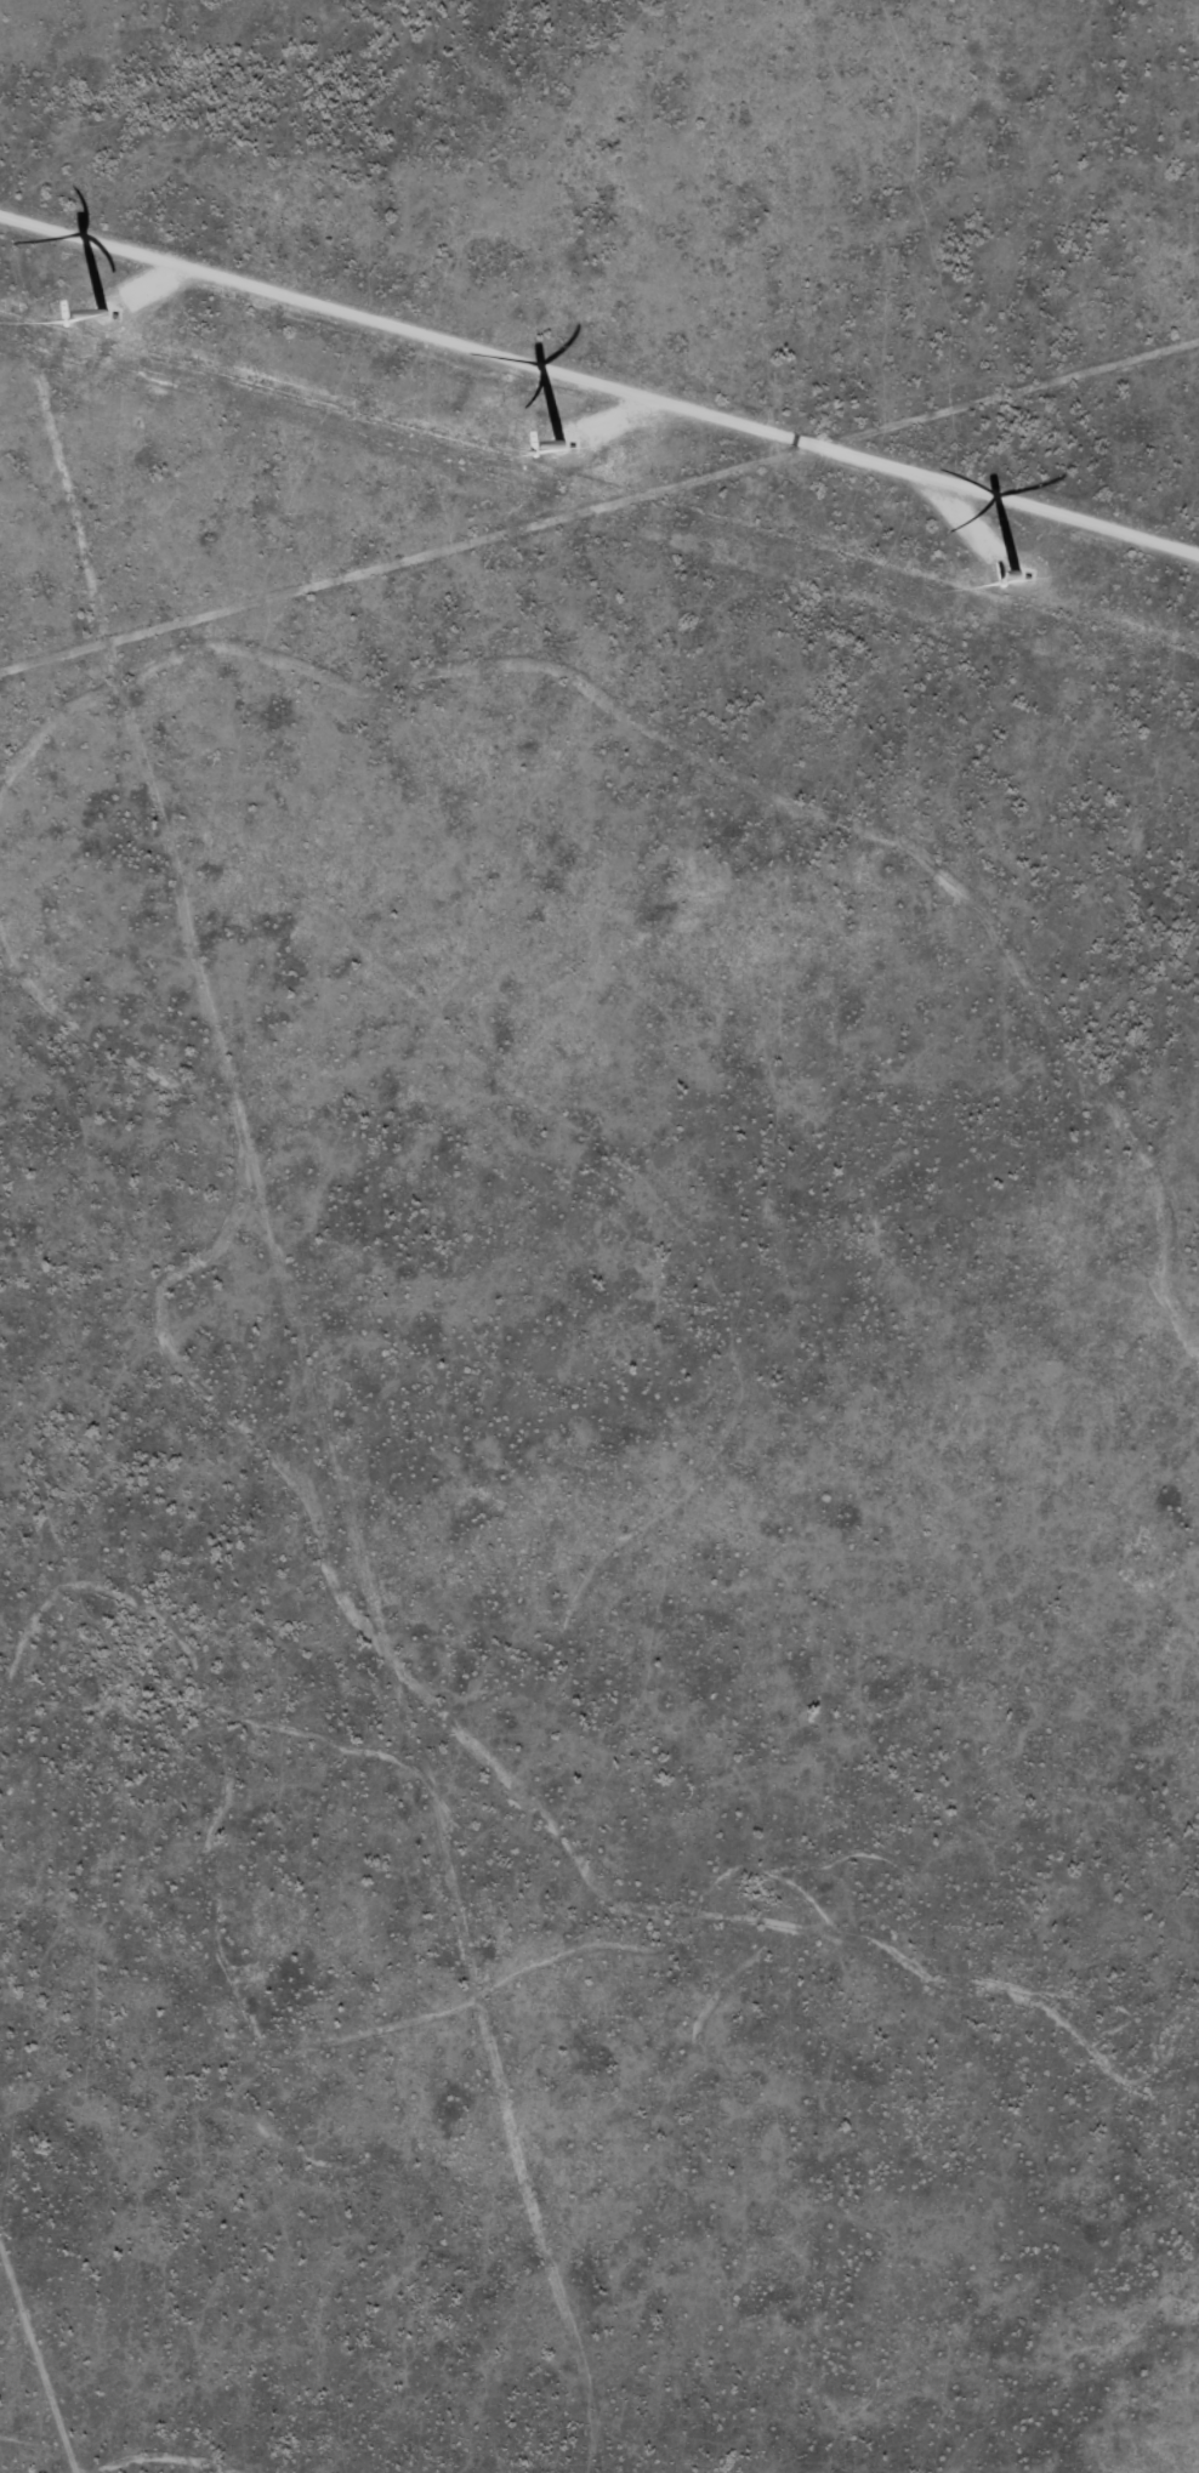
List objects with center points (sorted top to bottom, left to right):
wind turbine: (152, 291)
wind turbine: (539, 467)
wind turbine: (994, 584)
road: (640, 652)
road: (300, 1298)

